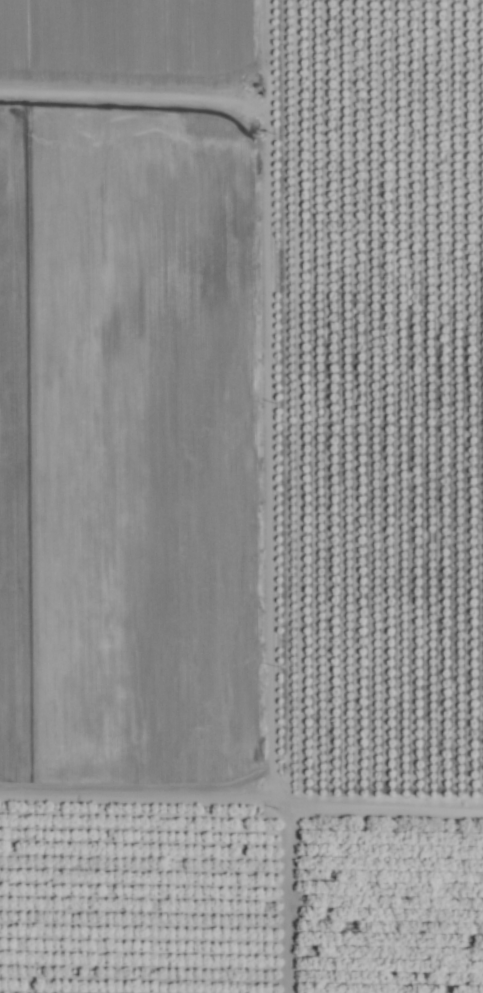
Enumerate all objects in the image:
road: (362, 805)
road: (131, 837)
road: (288, 908)

